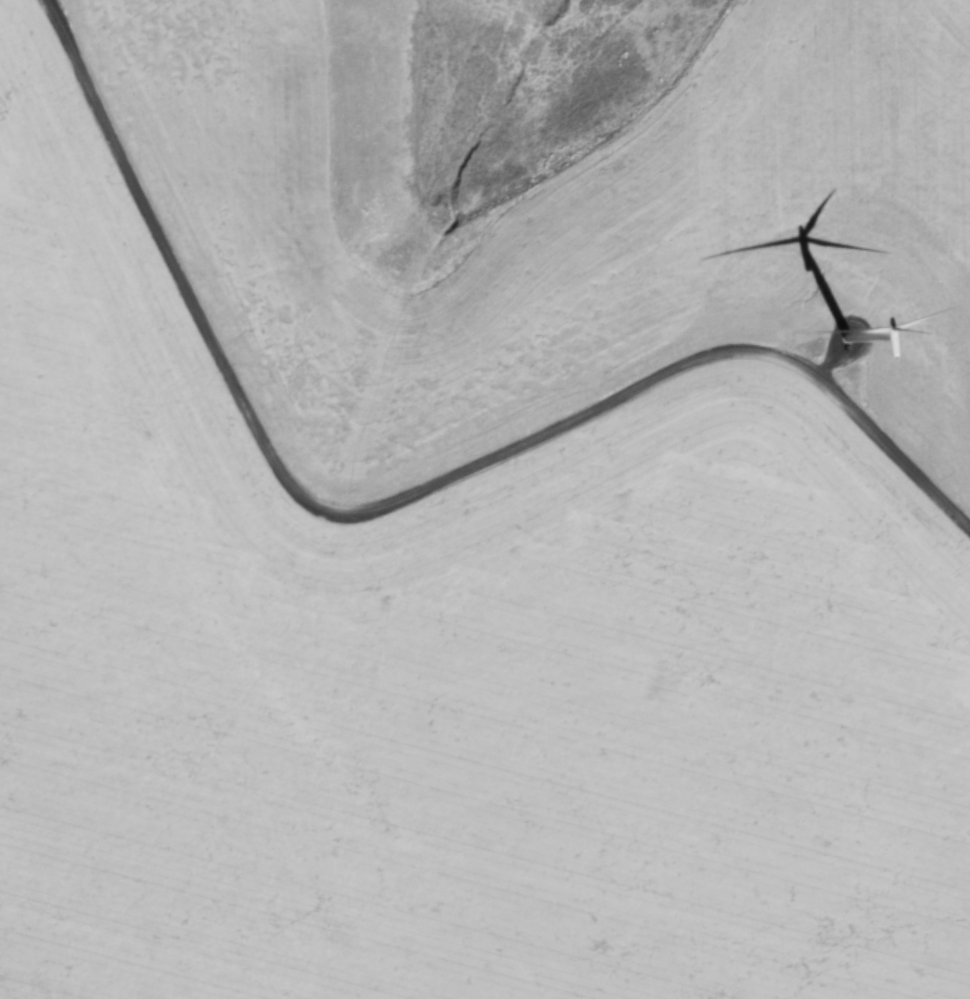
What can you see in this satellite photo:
wind turbine: (846, 333)

